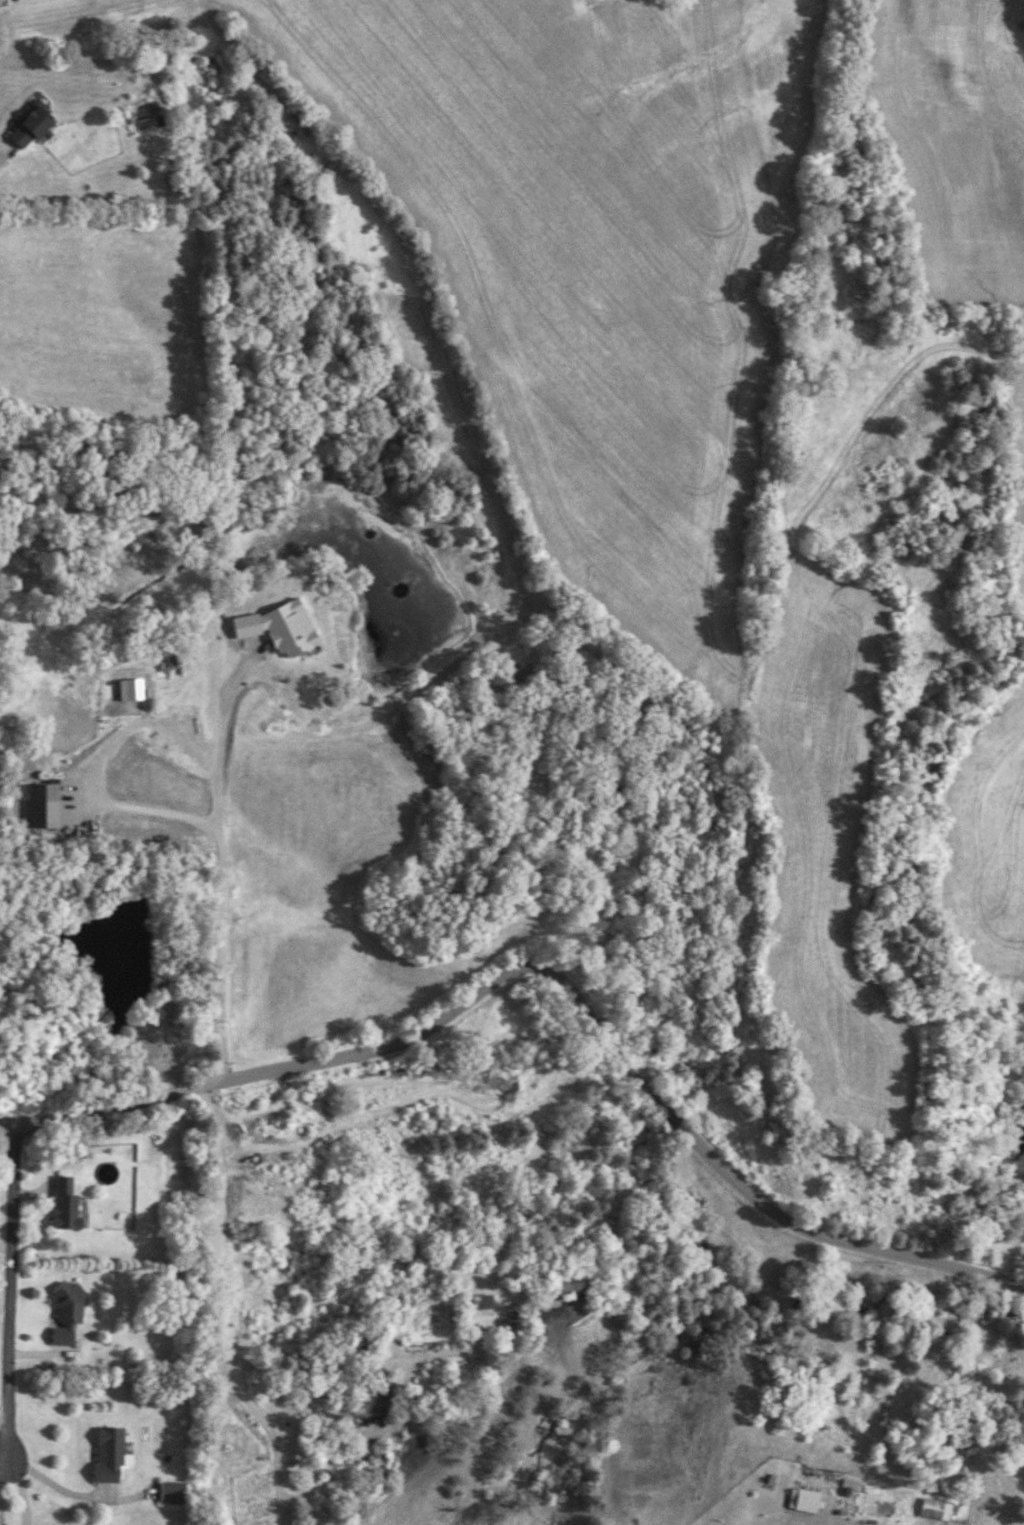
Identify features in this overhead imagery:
building: (30, 125)
road: (221, 753)
road: (219, 881)
road: (553, 976)
building: (64, 1202)
road: (533, 1250)
building: (566, 1282)
road: (8, 1289)
road: (4, 1304)
building: (480, 1308)
building: (67, 1312)
road: (219, 1313)
building: (365, 1340)
road: (345, 1364)
building: (371, 1401)
building: (108, 1453)
road: (3, 1458)
building: (172, 1491)
road: (75, 1493)
building: (807, 1495)

